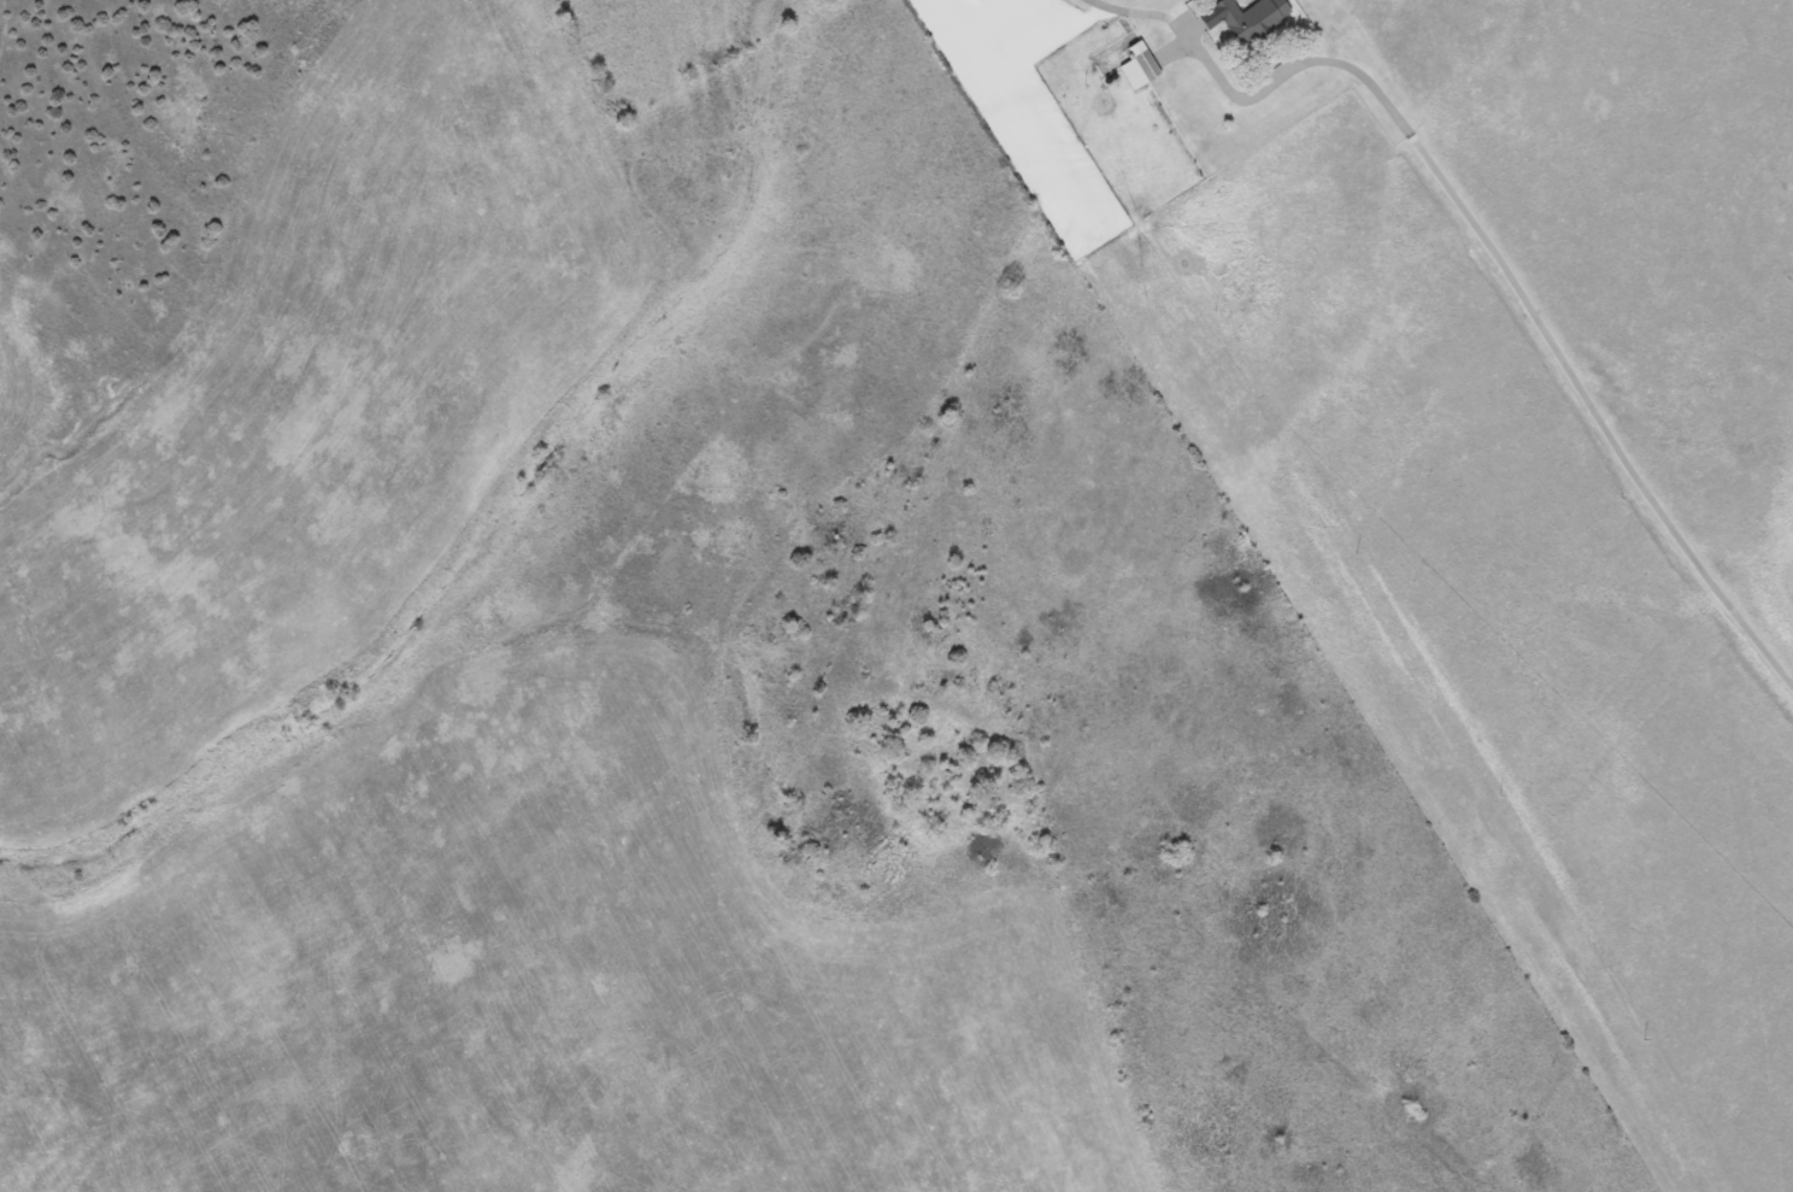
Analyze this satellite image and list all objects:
building: (1254, 20)
building: (1140, 66)
road: (1515, 301)

